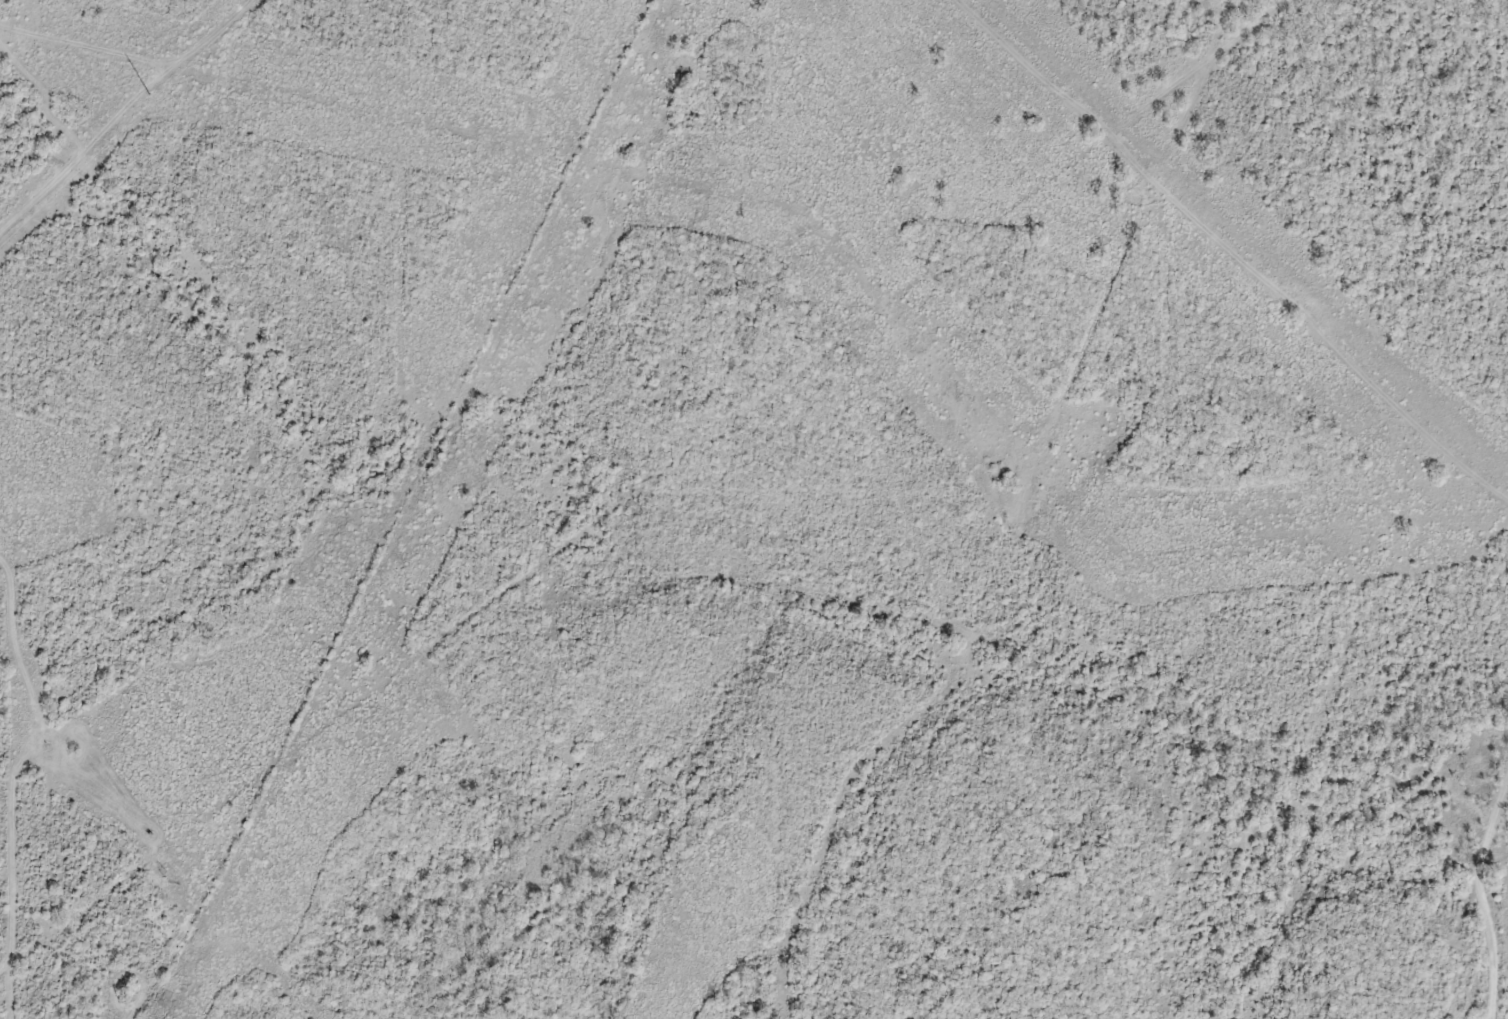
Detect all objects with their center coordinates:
power tower: (149, 94)

